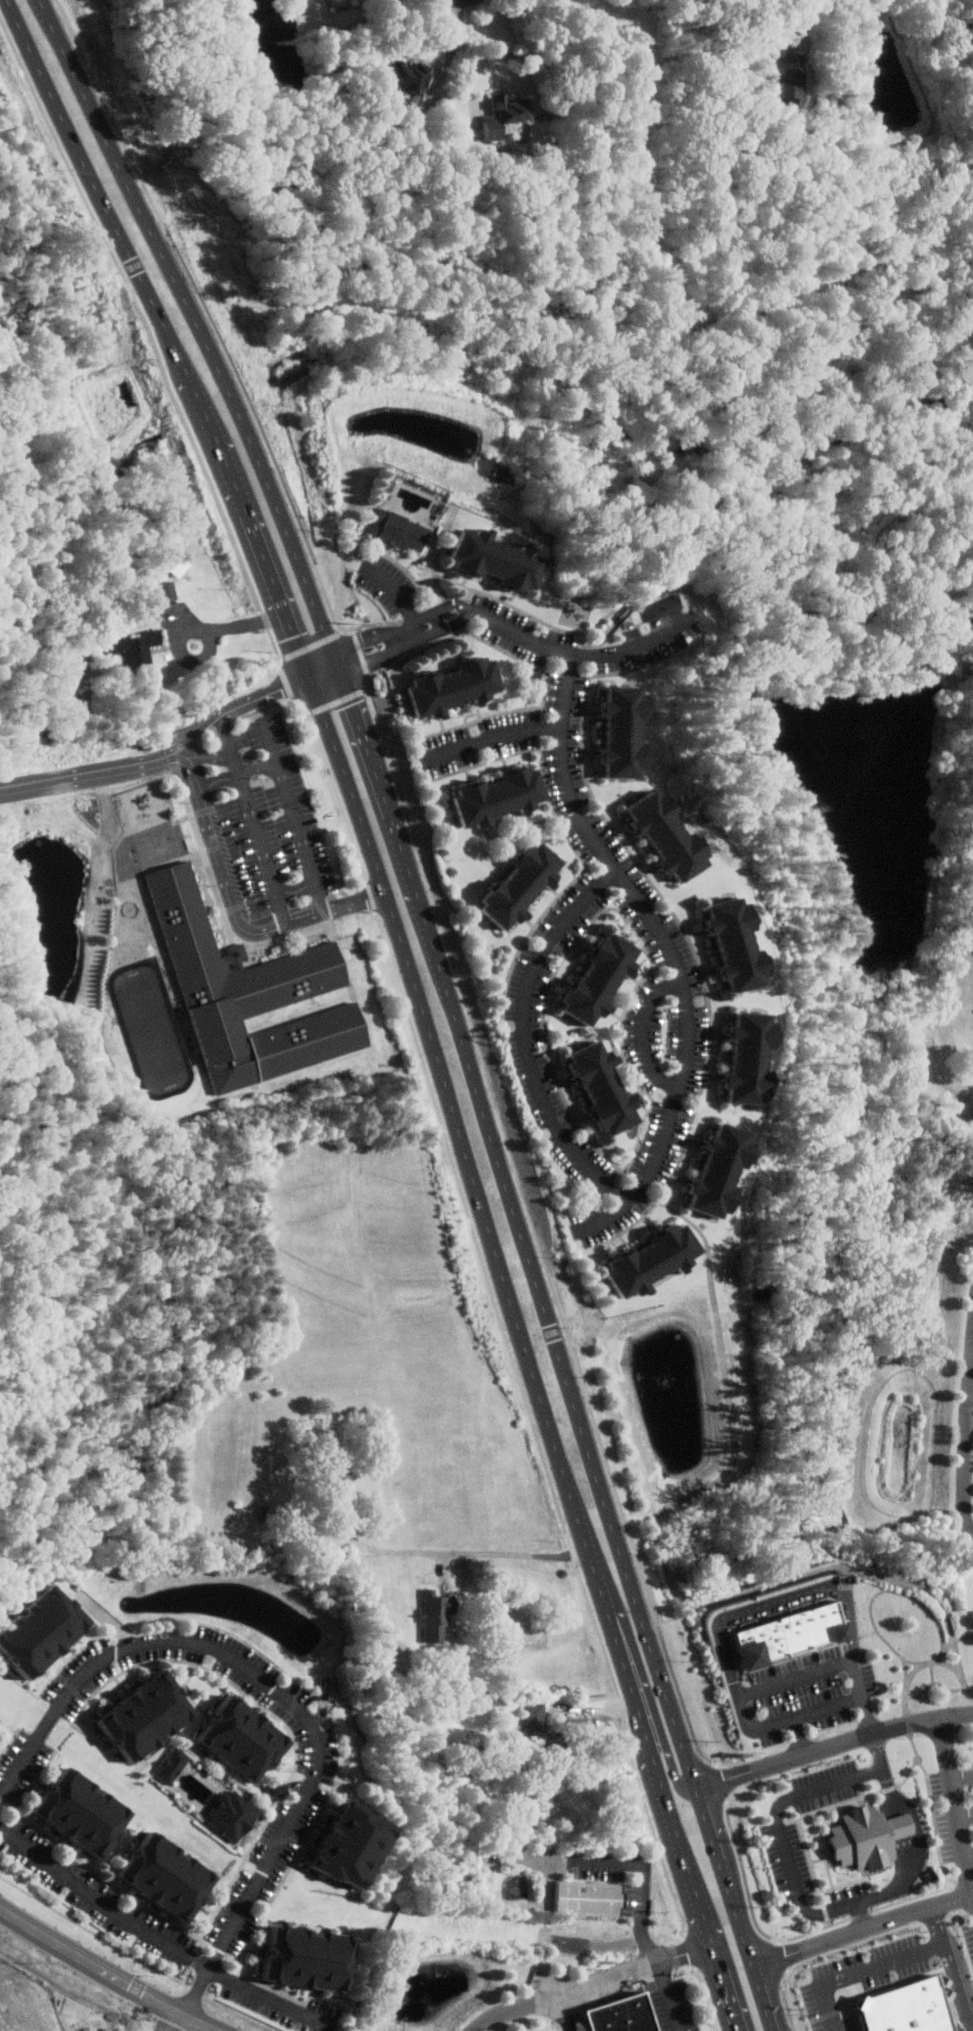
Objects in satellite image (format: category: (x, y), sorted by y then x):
building: (390, 0)
road: (852, 9)
road: (471, 56)
building: (785, 74)
building: (408, 75)
building: (502, 113)
road: (98, 187)
road: (194, 322)
road: (200, 406)
building: (399, 529)
road: (264, 555)
building: (497, 559)
building: (167, 590)
road: (403, 593)
building: (661, 607)
road: (429, 613)
road: (240, 624)
traffic signals: (297, 636)
traffic signals: (368, 639)
road: (360, 641)
building: (139, 648)
road: (397, 652)
road: (577, 654)
road: (338, 661)
road: (323, 662)
traffic signals: (285, 687)
building: (458, 687)
road: (243, 703)
traffic signals: (355, 704)
road: (357, 712)
building: (629, 732)
road: (496, 738)
road: (272, 744)
road: (93, 770)
road: (287, 793)
building: (504, 797)
road: (253, 819)
road: (400, 834)
building: (671, 836)
building: (526, 884)
road: (235, 909)
building: (739, 944)
road: (674, 948)
building: (605, 979)
building: (249, 994)
park: (153, 1029)
road: (648, 1031)
road: (529, 1036)
building: (753, 1058)
building: (608, 1088)
road: (456, 1110)
building: (723, 1171)
building: (657, 1262)
road: (561, 1351)
road: (967, 1458)
road: (657, 1541)
road: (510, 1553)
road: (875, 1593)
building: (442, 1614)
road: (610, 1614)
road: (730, 1614)
building: (43, 1628)
building: (773, 1636)
road: (807, 1652)
road: (951, 1665)
road: (905, 1670)
road: (934, 1673)
road: (793, 1678)
road: (743, 1681)
road: (932, 1684)
road: (278, 1690)
road: (958, 1690)
road: (952, 1694)
road: (918, 1697)
road: (924, 1698)
building: (147, 1710)
building: (0, 1719)
road: (644, 1720)
building: (249, 1736)
road: (662, 1736)
road: (796, 1736)
road: (833, 1744)
building: (170, 1764)
road: (918, 1765)
road: (963, 1774)
road: (957, 1794)
building: (86, 1810)
building: (237, 1814)
road: (967, 1814)
road: (711, 1833)
building: (865, 1836)
building: (351, 1839)
road: (686, 1852)
road: (971, 1853)
building: (164, 1873)
road: (644, 1891)
building: (592, 1898)
road: (829, 1910)
road: (862, 1915)
road: (739, 1922)
road: (862, 1929)
road: (159, 1933)
building: (306, 1953)
road: (880, 1964)
road: (108, 1971)
road: (591, 1981)
road: (958, 1981)
road: (729, 1987)
road: (763, 1998)
building: (903, 2007)
road: (567, 2011)
building: (627, 2014)
road: (499, 2023)
road: (968, 2025)

